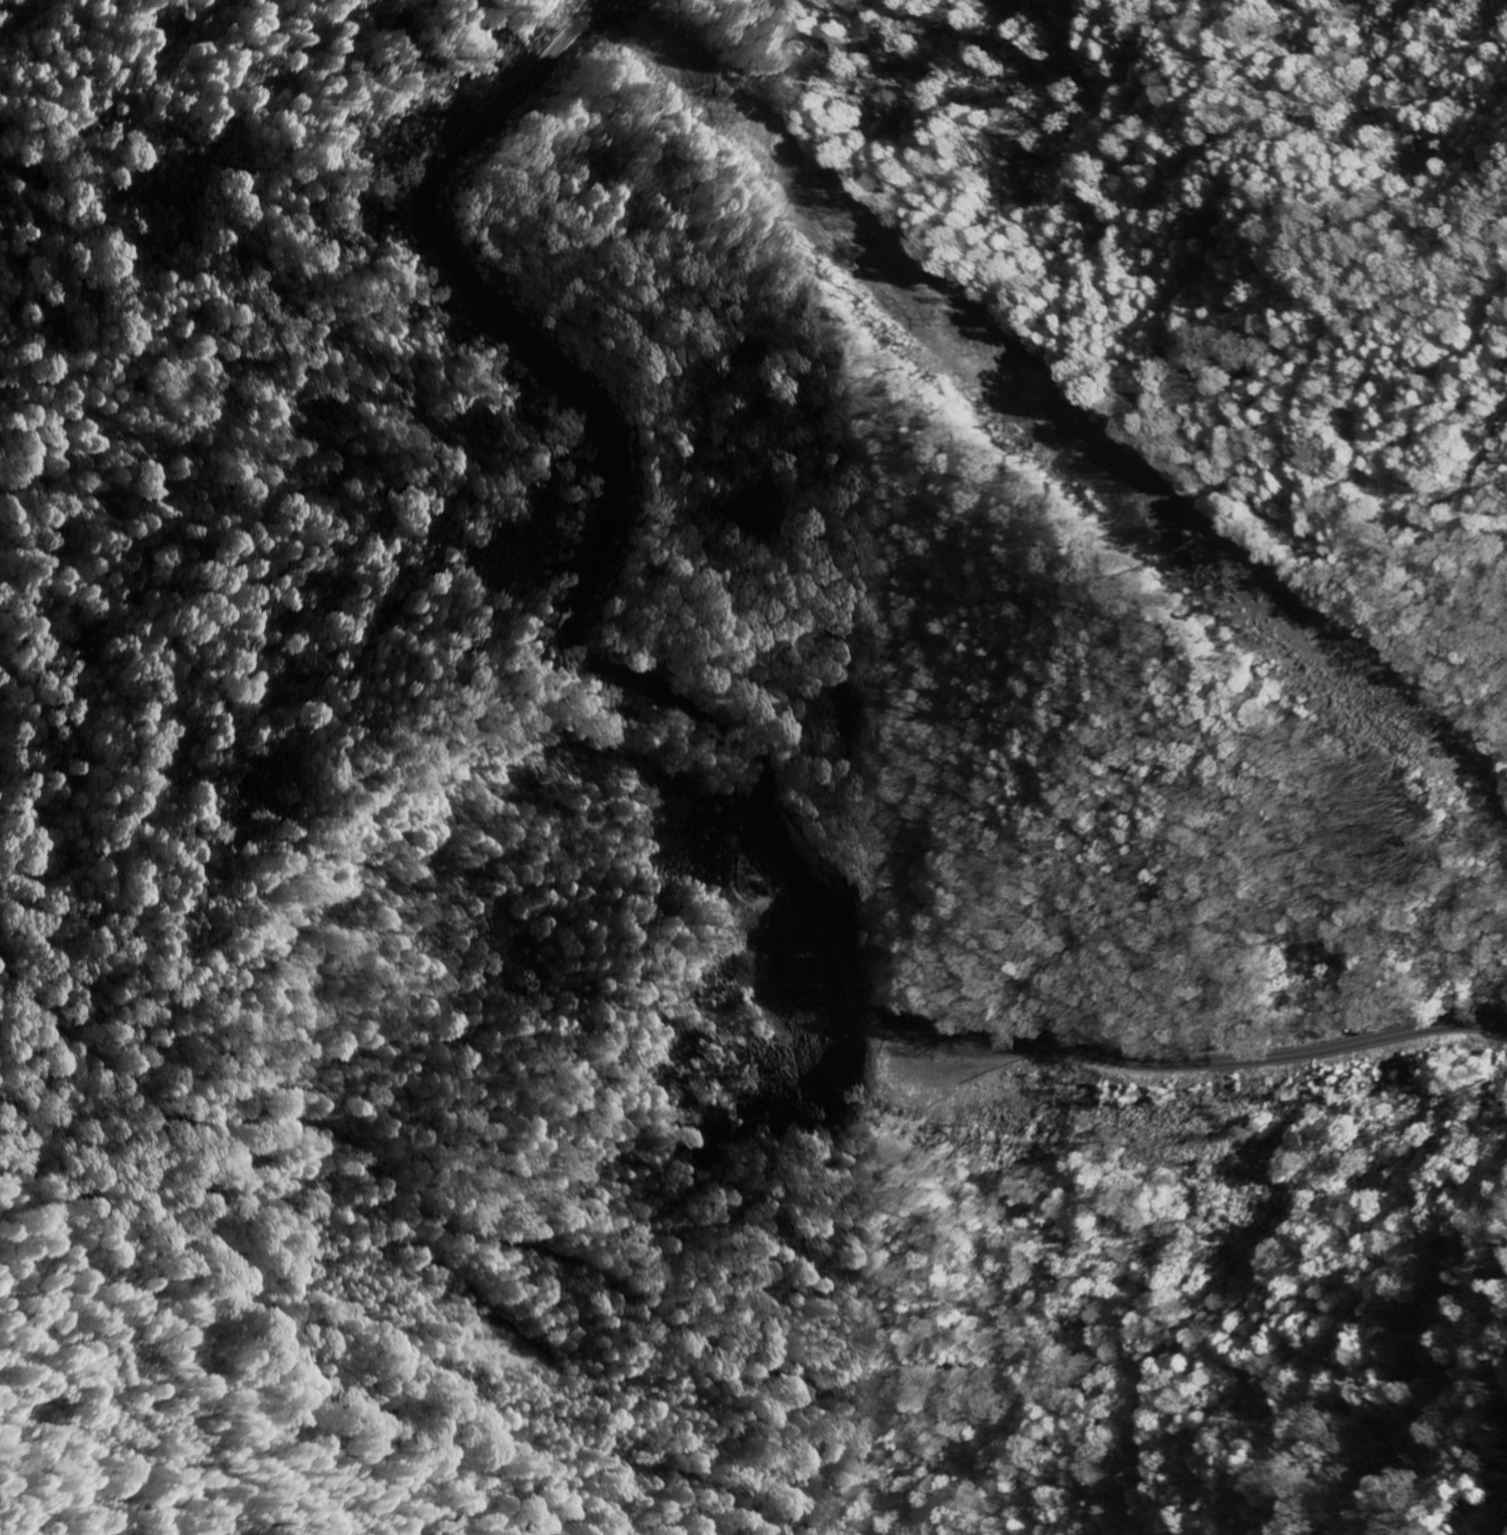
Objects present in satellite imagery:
road: (730, 739)

